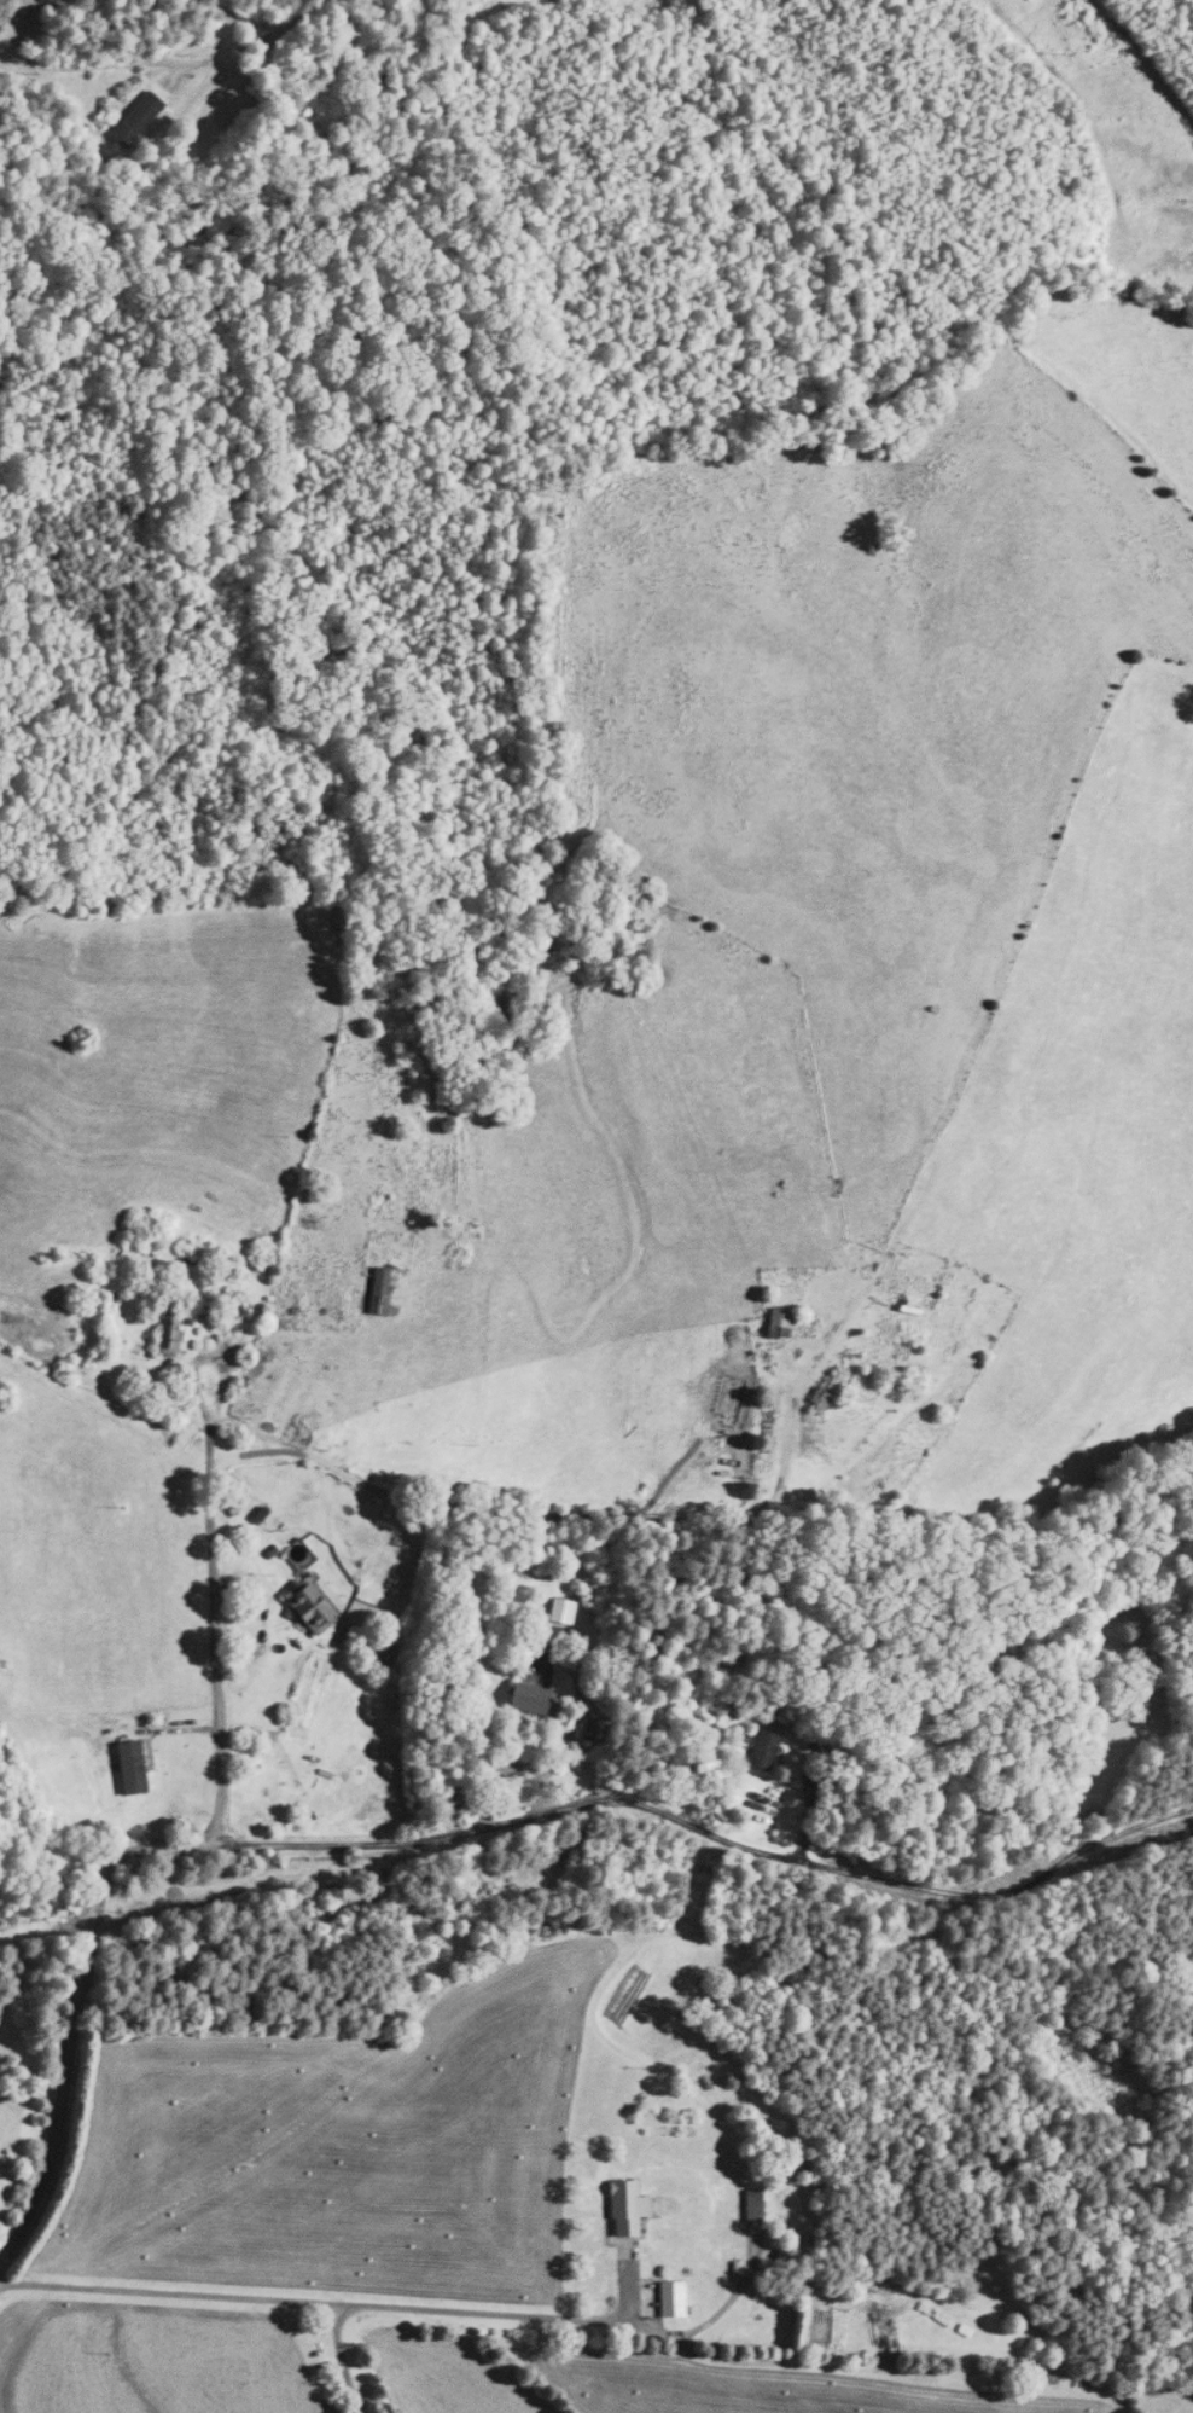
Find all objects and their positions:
building: (136, 120)
building: (458, 1251)
building: (385, 1290)
building: (330, 1309)
building: (781, 1322)
building: (169, 1335)
building: (316, 1392)
road: (214, 1560)
building: (312, 1607)
park: (1112, 1669)
building: (530, 1698)
building: (764, 1750)
building: (132, 1767)
road: (458, 1832)
building: (755, 2204)
building: (627, 2208)
building: (673, 2297)
road: (343, 2303)
road: (341, 2357)

